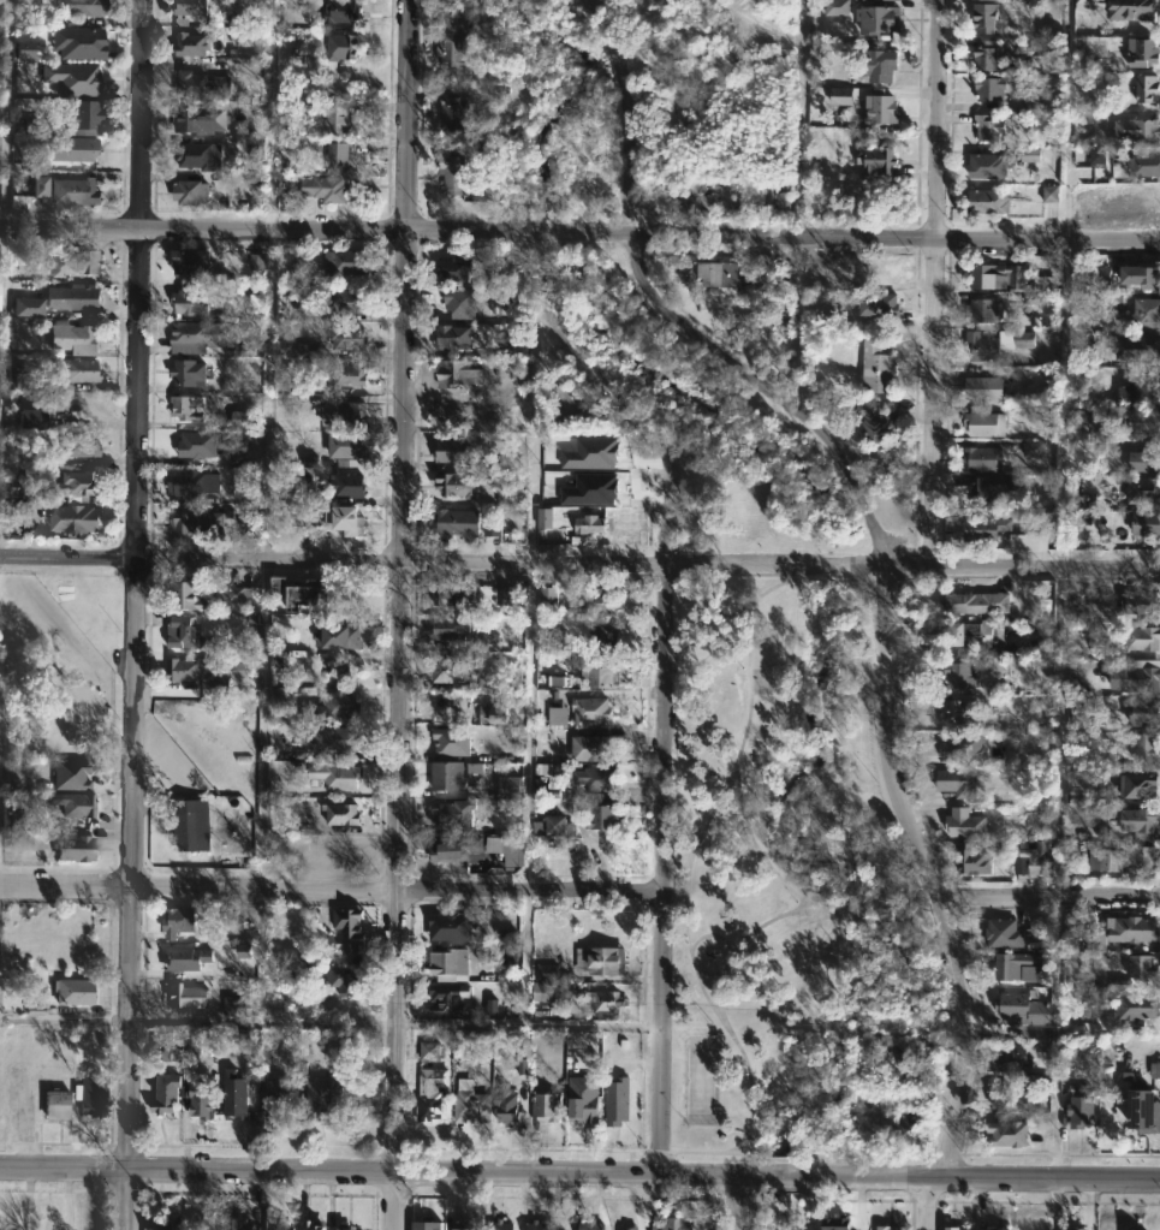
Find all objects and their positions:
building: (890, 0)
building: (1000, 0)
building: (1081, 4)
building: (82, 7)
building: (837, 7)
building: (190, 10)
building: (1135, 10)
building: (341, 11)
building: (986, 16)
building: (880, 19)
building: (458, 41)
building: (81, 42)
building: (192, 44)
building: (341, 48)
building: (1037, 48)
building: (24, 49)
building: (983, 53)
building: (1144, 53)
building: (297, 54)
building: (880, 65)
building: (71, 78)
building: (202, 85)
building: (1146, 87)
building: (993, 88)
building: (841, 95)
building: (454, 108)
building: (885, 109)
road: (4, 113)
road: (629, 113)
building: (81, 118)
building: (200, 119)
building: (338, 119)
road: (801, 119)
building: (34, 124)
building: (988, 126)
building: (1138, 127)
building: (78, 149)
building: (252, 150)
building: (1030, 154)
building: (200, 155)
building: (338, 155)
building: (1099, 156)
building: (880, 160)
building: (1146, 165)
building: (989, 166)
building: (453, 174)
building: (329, 188)
building: (486, 190)
building: (191, 192)
building: (59, 194)
building: (1051, 194)
building: (695, 195)
building: (991, 202)
road: (579, 232)
building: (73, 262)
building: (192, 262)
building: (256, 262)
building: (346, 262)
building: (456, 271)
building: (767, 271)
building: (1100, 274)
building: (709, 275)
building: (1141, 275)
building: (997, 277)
road: (938, 284)
building: (71, 298)
building: (349, 302)
building: (191, 303)
building: (462, 303)
building: (875, 303)
building: (1114, 303)
building: (28, 307)
building: (986, 311)
building: (1144, 314)
building: (202, 337)
building: (518, 337)
building: (81, 338)
building: (454, 338)
building: (350, 340)
road: (569, 346)
building: (982, 347)
building: (1137, 347)
building: (875, 368)
building: (79, 370)
building: (190, 373)
building: (459, 374)
building: (350, 375)
building: (24, 381)
building: (1143, 387)
road: (772, 388)
building: (986, 388)
road: (267, 397)
building: (569, 404)
building: (185, 409)
building: (458, 414)
building: (344, 415)
building: (240, 418)
building: (1082, 418)
building: (32, 420)
building: (879, 421)
building: (1130, 421)
building: (986, 423)
building: (81, 445)
building: (197, 445)
building: (349, 446)
building: (1033, 448)
building: (453, 451)
building: (591, 453)
building: (984, 459)
building: (1146, 462)
building: (194, 483)
building: (459, 485)
building: (351, 486)
building: (73, 487)
building: (991, 489)
building: (590, 491)
building: (1143, 491)
building: (19, 517)
building: (545, 517)
building: (76, 519)
building: (206, 522)
building: (346, 522)
building: (457, 523)
building: (493, 523)
building: (590, 524)
building: (1148, 525)
building: (989, 528)
building: (1028, 542)
road: (579, 564)
building: (279, 587)
building: (470, 593)
building: (190, 594)
building: (239, 594)
building: (344, 595)
building: (311, 596)
building: (547, 598)
road: (694, 599)
building: (602, 600)
building: (978, 604)
building: (1143, 606)
road: (137, 614)
road: (401, 614)
building: (450, 626)
building: (963, 630)
building: (186, 632)
building: (603, 634)
building: (339, 638)
building: (1142, 638)
building: (489, 642)
building: (246, 655)
park: (759, 667)
building: (196, 669)
building: (240, 670)
building: (596, 670)
building: (452, 671)
building: (959, 673)
building: (1137, 676)
building: (337, 706)
building: (1082, 708)
building: (1146, 711)
building: (588, 712)
building: (494, 713)
building: (958, 713)
building: (557, 715)
road: (261, 724)
road: (529, 725)
road: (1057, 736)
building: (338, 738)
building: (453, 741)
building: (594, 747)
building: (962, 748)
building: (1143, 749)
building: (557, 771)
building: (71, 773)
building: (450, 774)
building: (339, 776)
building: (596, 777)
building: (958, 782)
building: (1137, 785)
building: (512, 788)
building: (77, 804)
road: (659, 804)
building: (454, 810)
building: (343, 813)
building: (600, 814)
building: (970, 819)
building: (1136, 819)
building: (557, 825)
building: (190, 830)
building: (76, 848)
building: (459, 848)
building: (1070, 850)
building: (513, 854)
building: (976, 858)
building: (1104, 858)
building: (1138, 860)
building: (1034, 861)
road: (930, 869)
road: (329, 889)
park: (791, 890)
road: (1051, 901)
building: (178, 921)
road: (763, 921)
building: (456, 925)
building: (1071, 925)
building: (351, 927)
building: (1131, 931)
building: (1001, 934)
building: (1100, 940)
road: (727, 949)
building: (244, 951)
building: (510, 957)
building: (186, 958)
building: (599, 961)
building: (446, 962)
building: (1015, 964)
building: (1140, 967)
building: (546, 973)
building: (345, 980)
building: (75, 991)
building: (551, 992)
building: (188, 996)
building: (447, 998)
building: (606, 1003)
building: (234, 1005)
building: (1017, 1005)
building: (1138, 1008)
road: (65, 1018)
road: (527, 1026)
building: (240, 1035)
building: (1041, 1039)
building: (191, 1041)
building: (166, 1051)
building: (429, 1051)
building: (911, 1051)
building: (1009, 1053)
building: (522, 1066)
building: (1154, 1070)
building: (91, 1093)
building: (166, 1094)
building: (234, 1094)
building: (433, 1095)
building: (1012, 1098)
building: (202, 1099)
building: (278, 1099)
building: (323, 1099)
building: (618, 1099)
building: (583, 1101)
building: (56, 1104)
building: (510, 1105)
building: (471, 1106)
building: (547, 1106)
building: (1083, 1107)
building: (1141, 1110)
road: (744, 1130)
building: (1010, 1133)
road: (692, 1149)
road: (579, 1172)
road: (728, 1199)
road: (926, 1204)
building: (835, 1223)
building: (237, 1224)
building: (280, 1224)
building: (426, 1224)
building: (465, 1224)
building: (504, 1224)
building: (593, 1224)
building: (160, 1225)
building: (317, 1225)
building: (539, 1225)
building: (668, 1225)
building: (630, 1226)
building: (886, 1228)
building: (952, 1228)
building: (998, 1228)
building: (349, 1229)
building: (1078, 1229)

